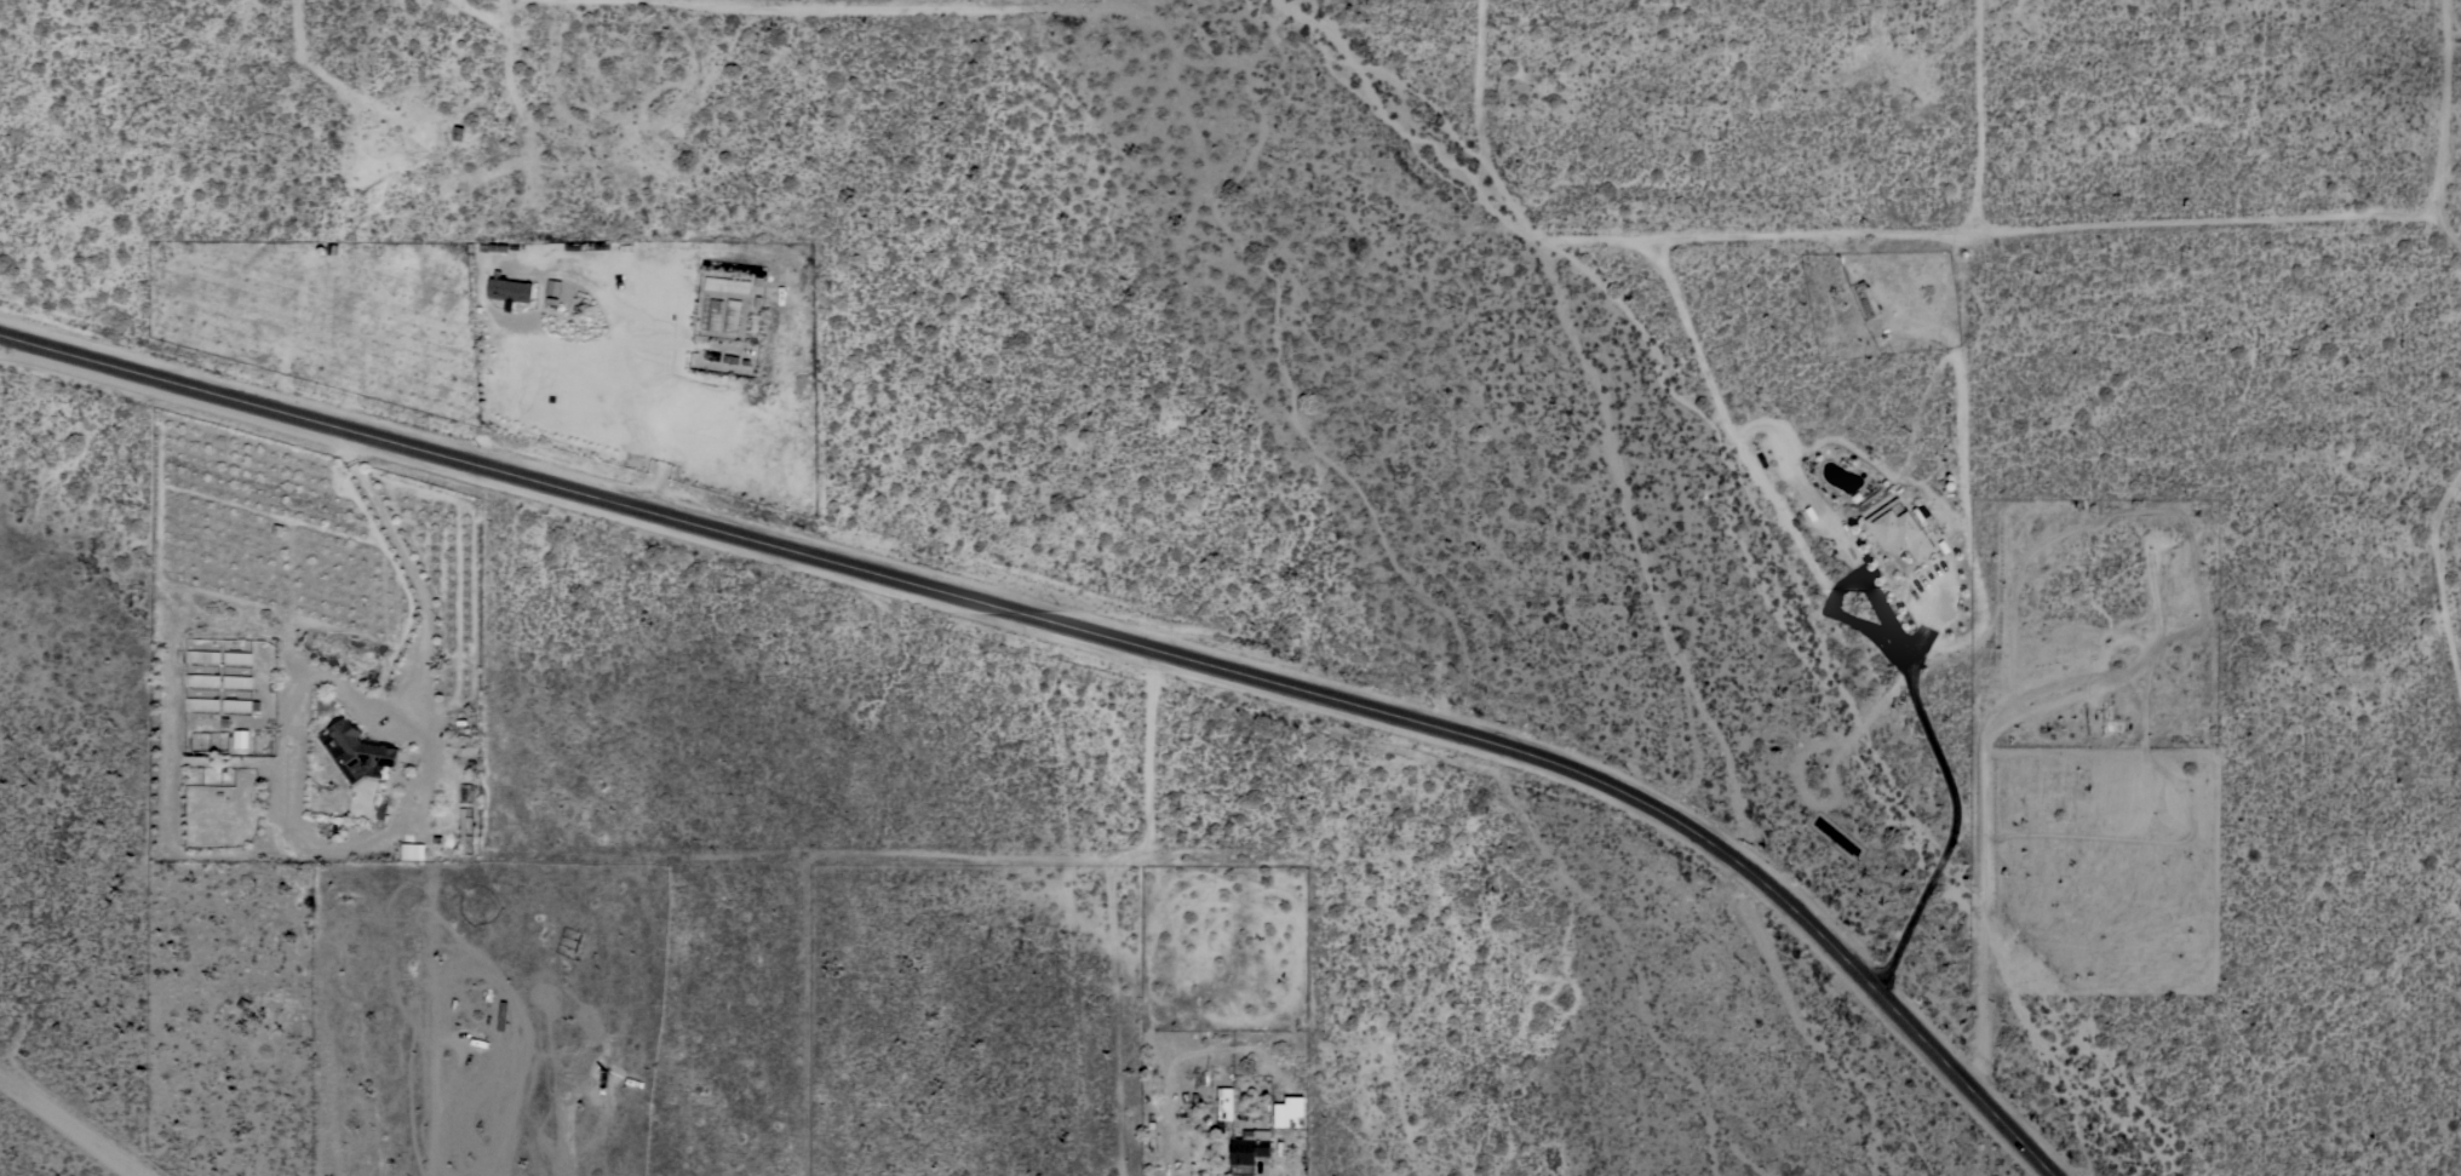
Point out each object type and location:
road: (894, 8)
building: (725, 283)
building: (507, 289)
building: (1869, 297)
building: (712, 314)
building: (732, 315)
road: (667, 388)
building: (1922, 517)
building: (1897, 528)
road: (425, 569)
road: (1096, 627)
building: (202, 656)
building: (236, 658)
building: (202, 681)
building: (236, 682)
building: (201, 704)
building: (239, 705)
building: (241, 739)
building: (358, 747)
road: (1981, 770)
road: (1957, 804)
building: (461, 830)
building: (406, 849)
building: (1289, 1113)
road: (84, 1120)
building: (1247, 1147)

